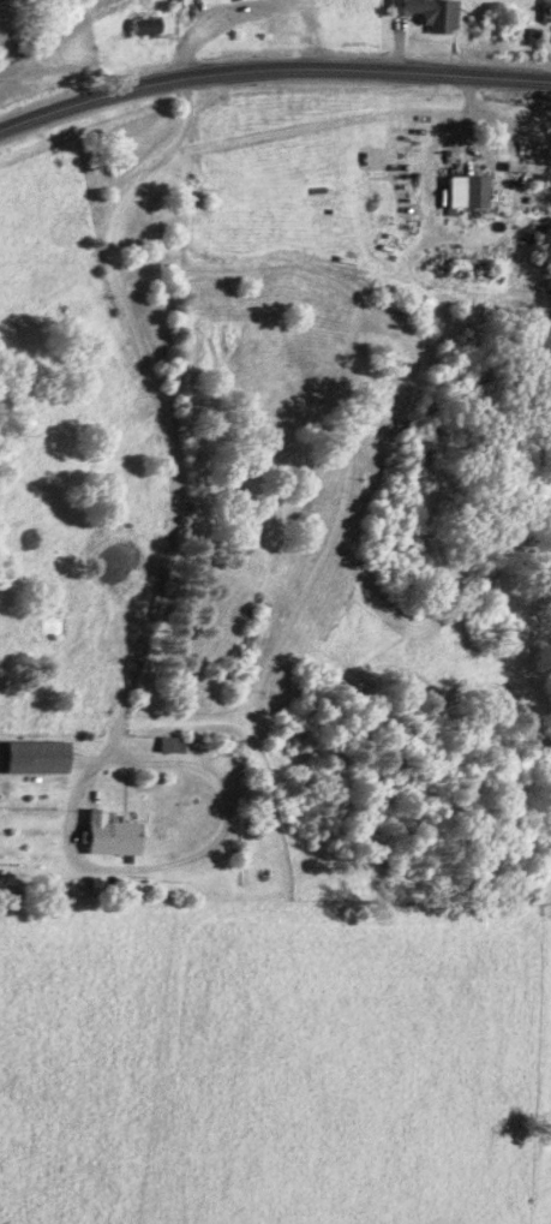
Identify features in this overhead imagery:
building: (549, 11)
building: (437, 12)
building: (152, 24)
road: (271, 68)
building: (474, 190)
road: (118, 289)
building: (180, 744)
building: (43, 757)
building: (120, 835)
road: (138, 864)

